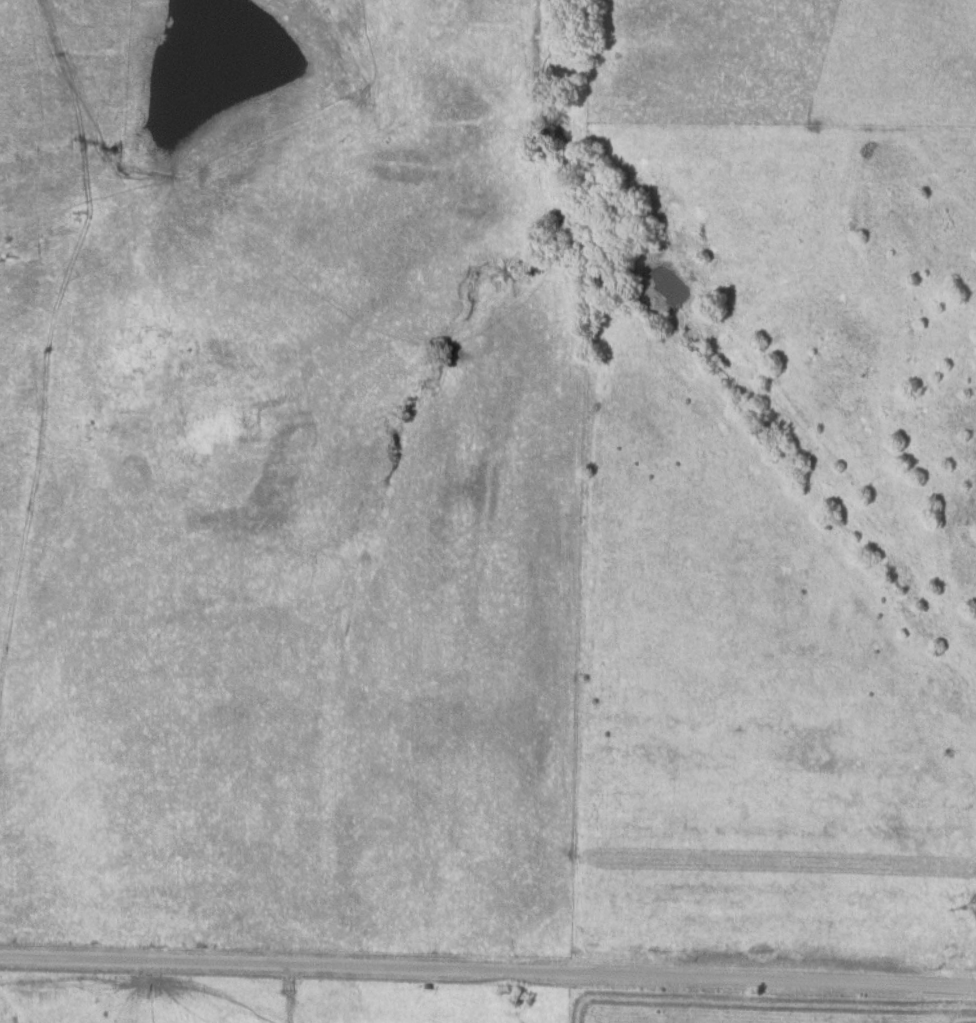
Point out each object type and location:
road: (488, 968)

